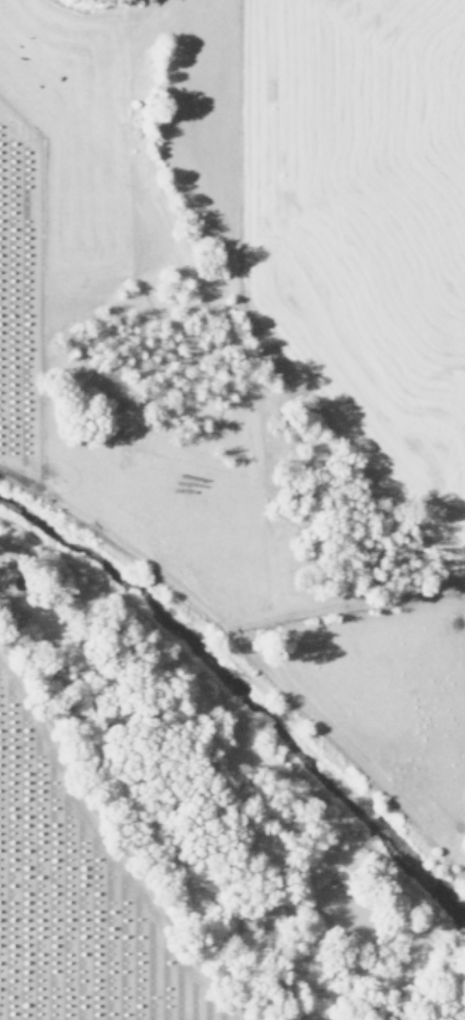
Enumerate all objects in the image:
crop: (306, 195)

